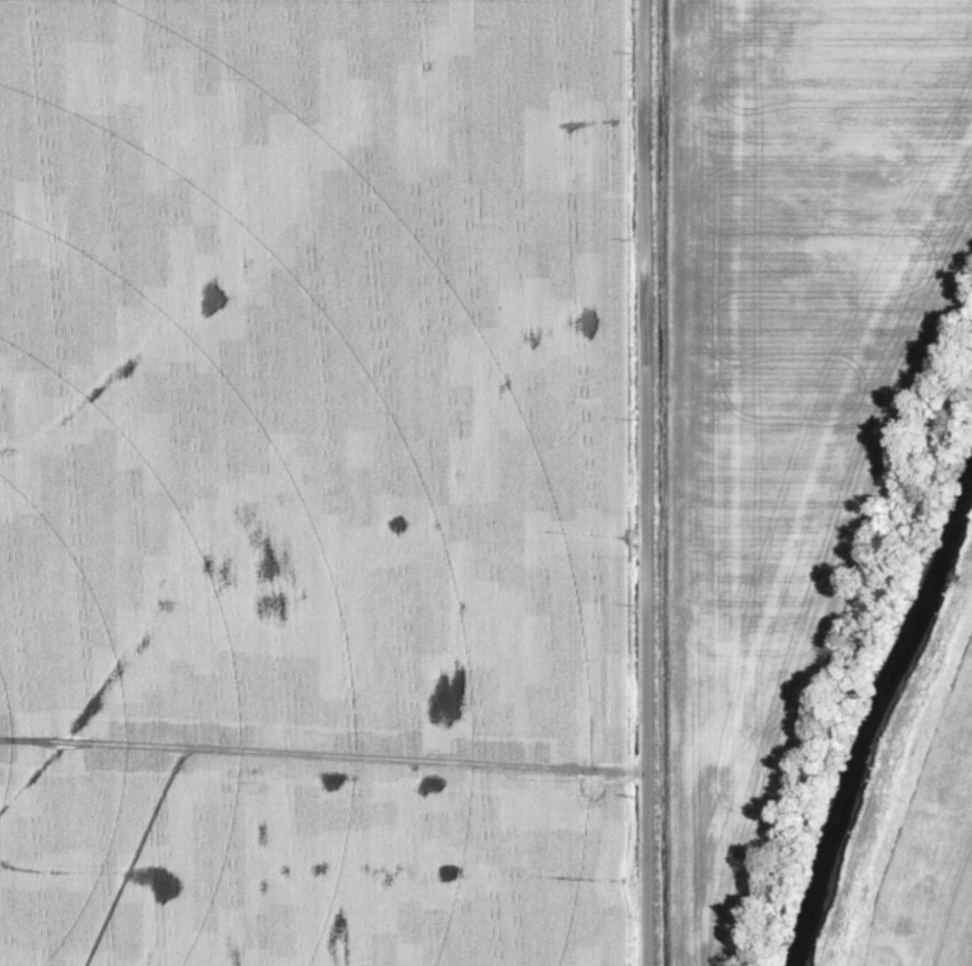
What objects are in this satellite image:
road: (646, 483)

